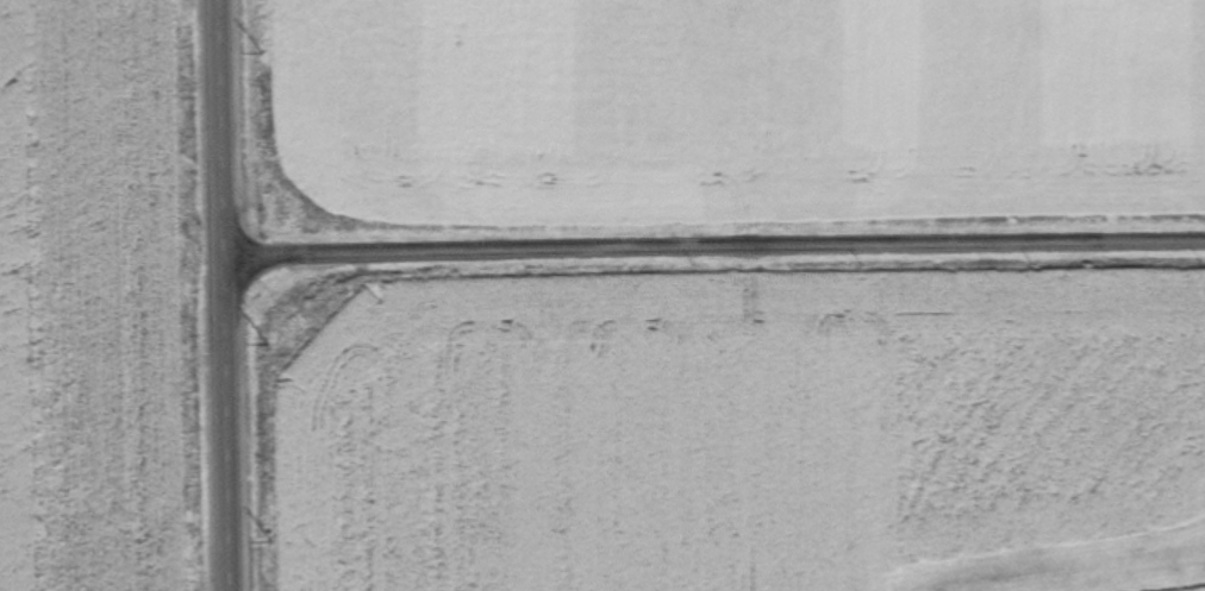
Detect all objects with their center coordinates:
road: (713, 262)
road: (223, 295)

